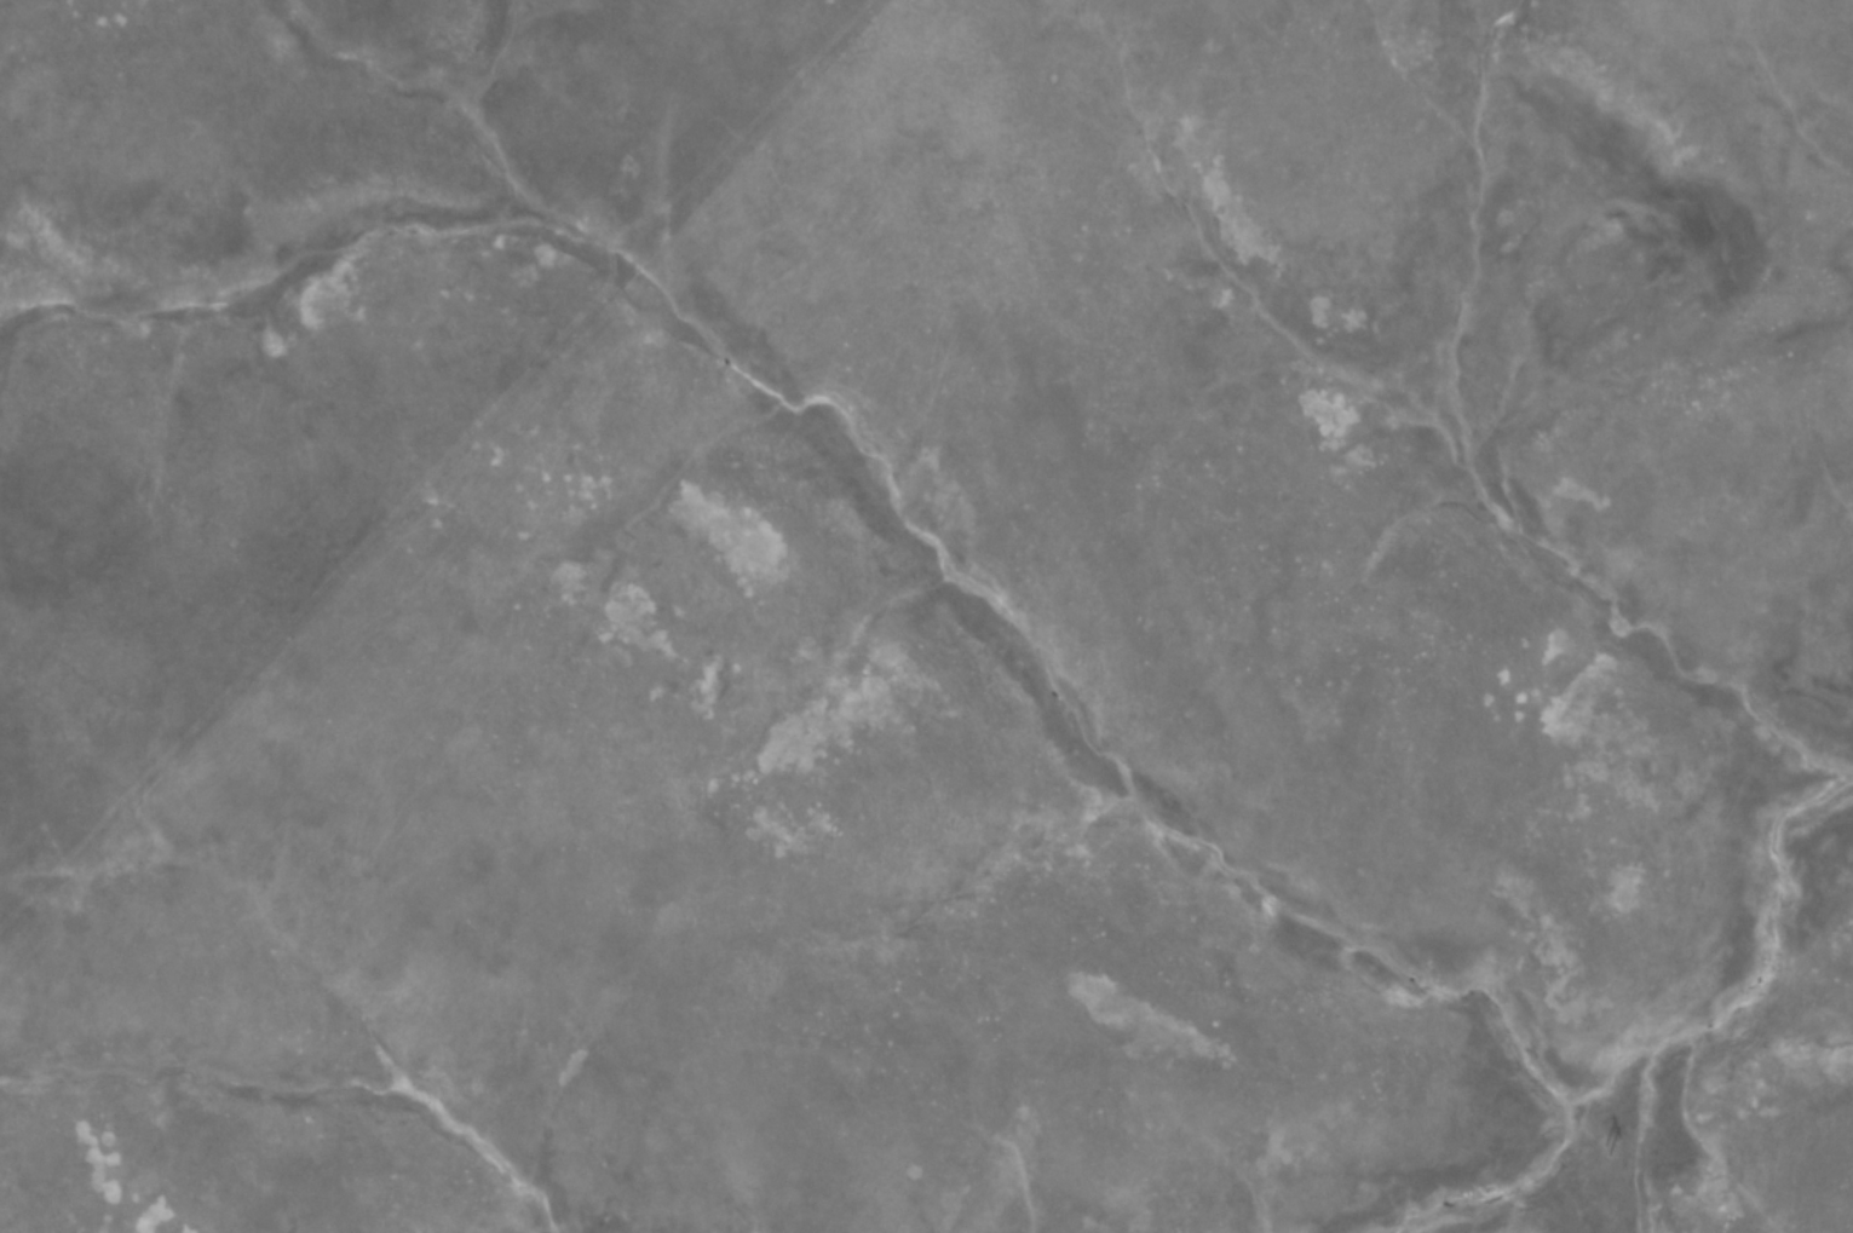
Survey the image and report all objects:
power tower: (1602, 1151)

